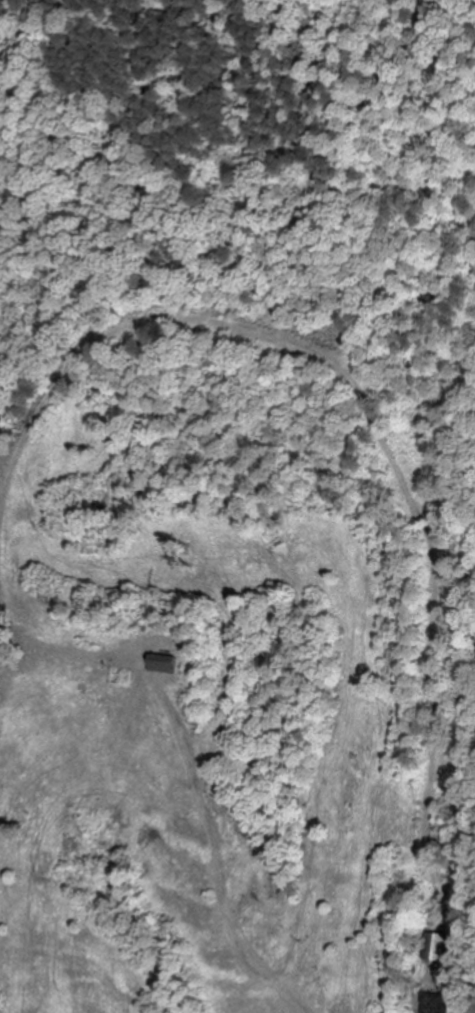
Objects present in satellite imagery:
building: (169, 664)
building: (434, 947)

